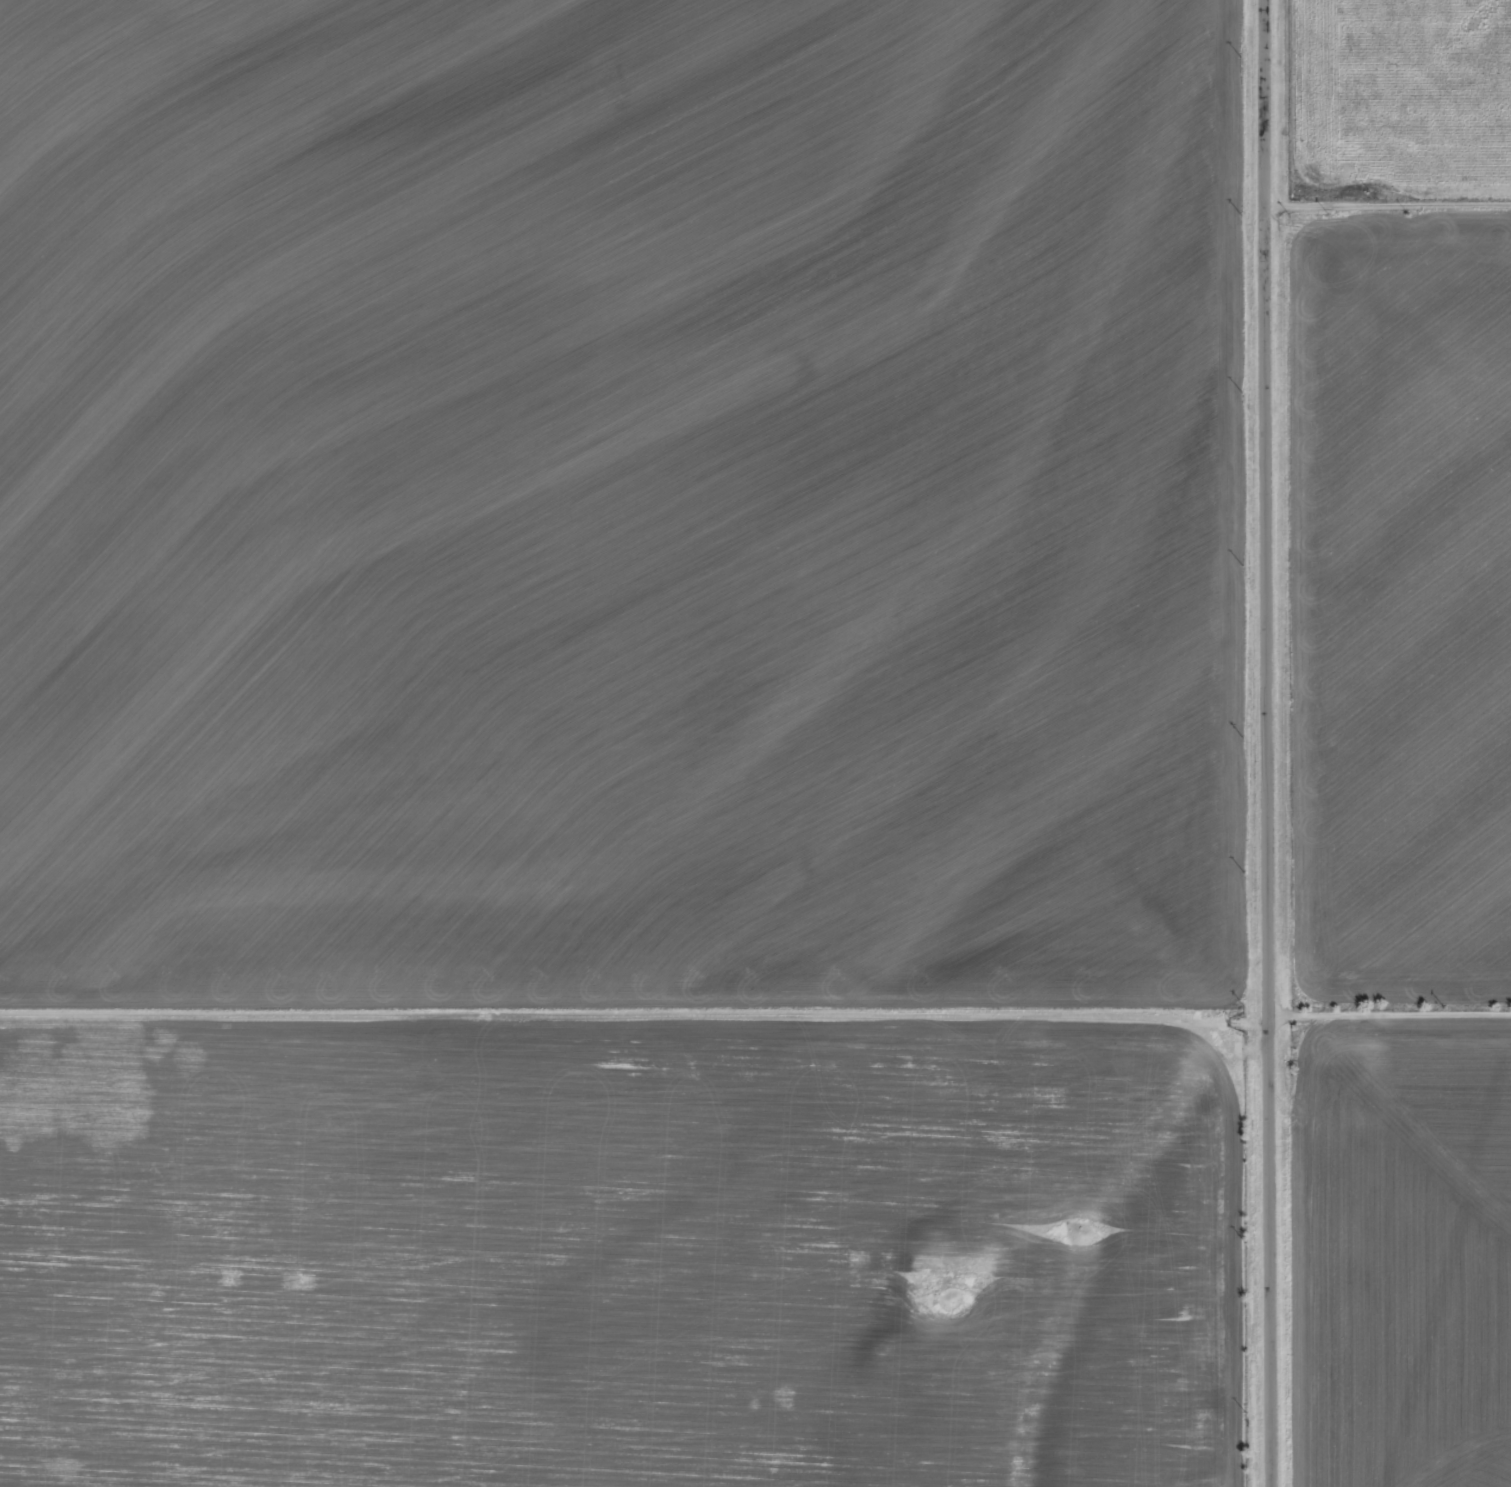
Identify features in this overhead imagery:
road: (1497, 187)
road: (1378, 190)
road: (1274, 743)
road: (1490, 1005)
road: (1372, 1006)

